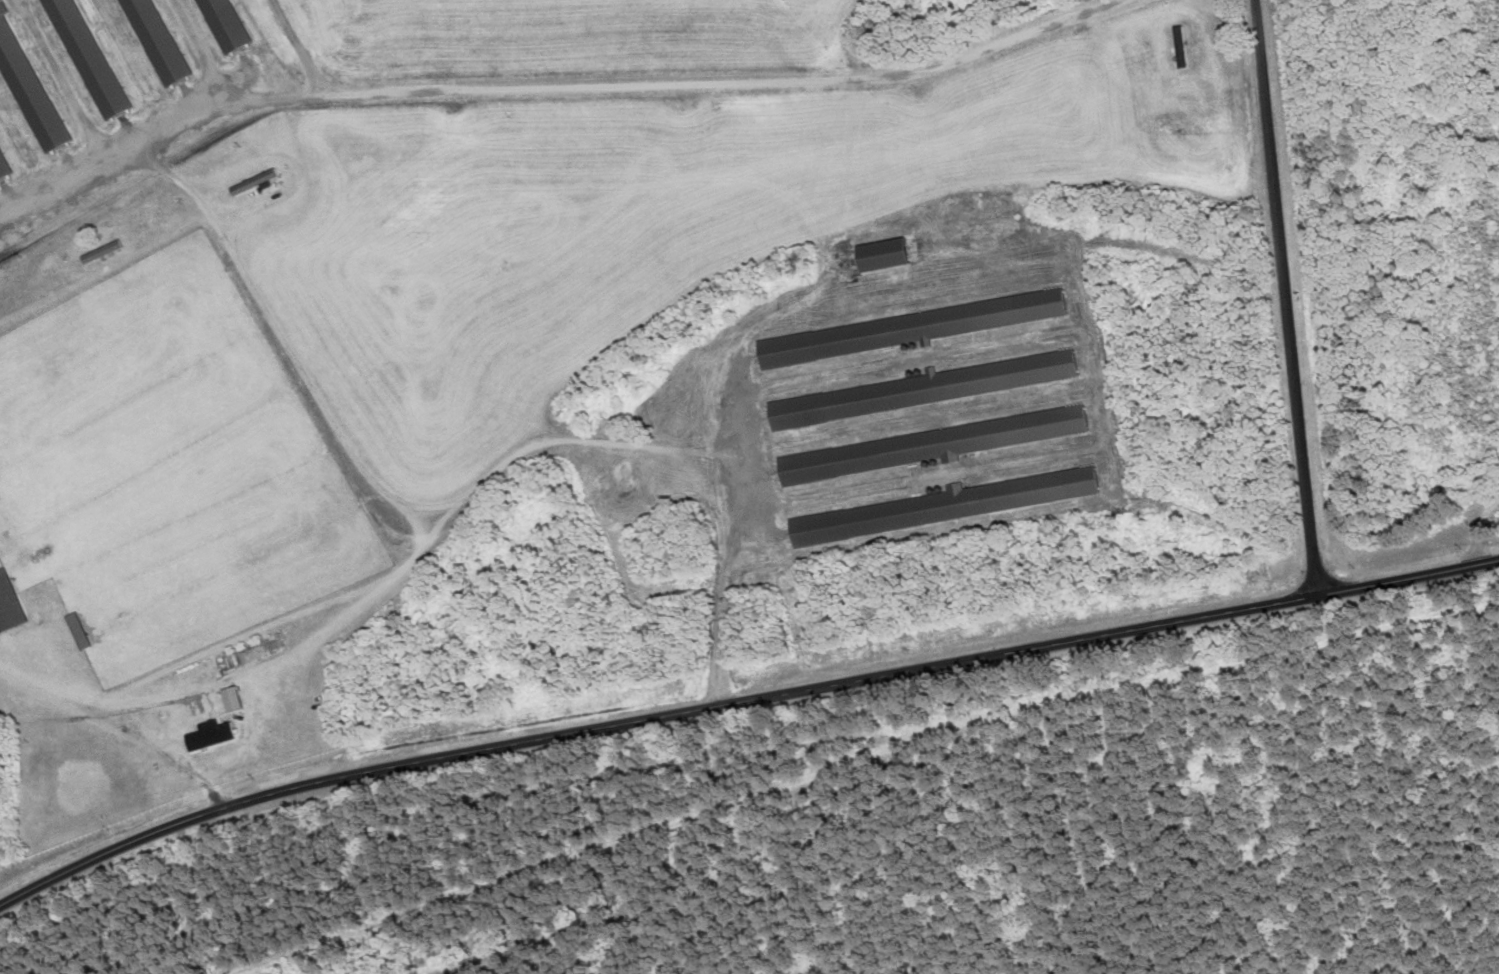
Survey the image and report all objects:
building: (216, 26)
building: (152, 41)
building: (1, 174)
building: (99, 252)
road: (1285, 297)
building: (902, 330)
building: (926, 389)
building: (930, 445)
building: (946, 505)
road: (1481, 523)
building: (7, 605)
building: (74, 631)
road: (740, 702)
building: (206, 734)

